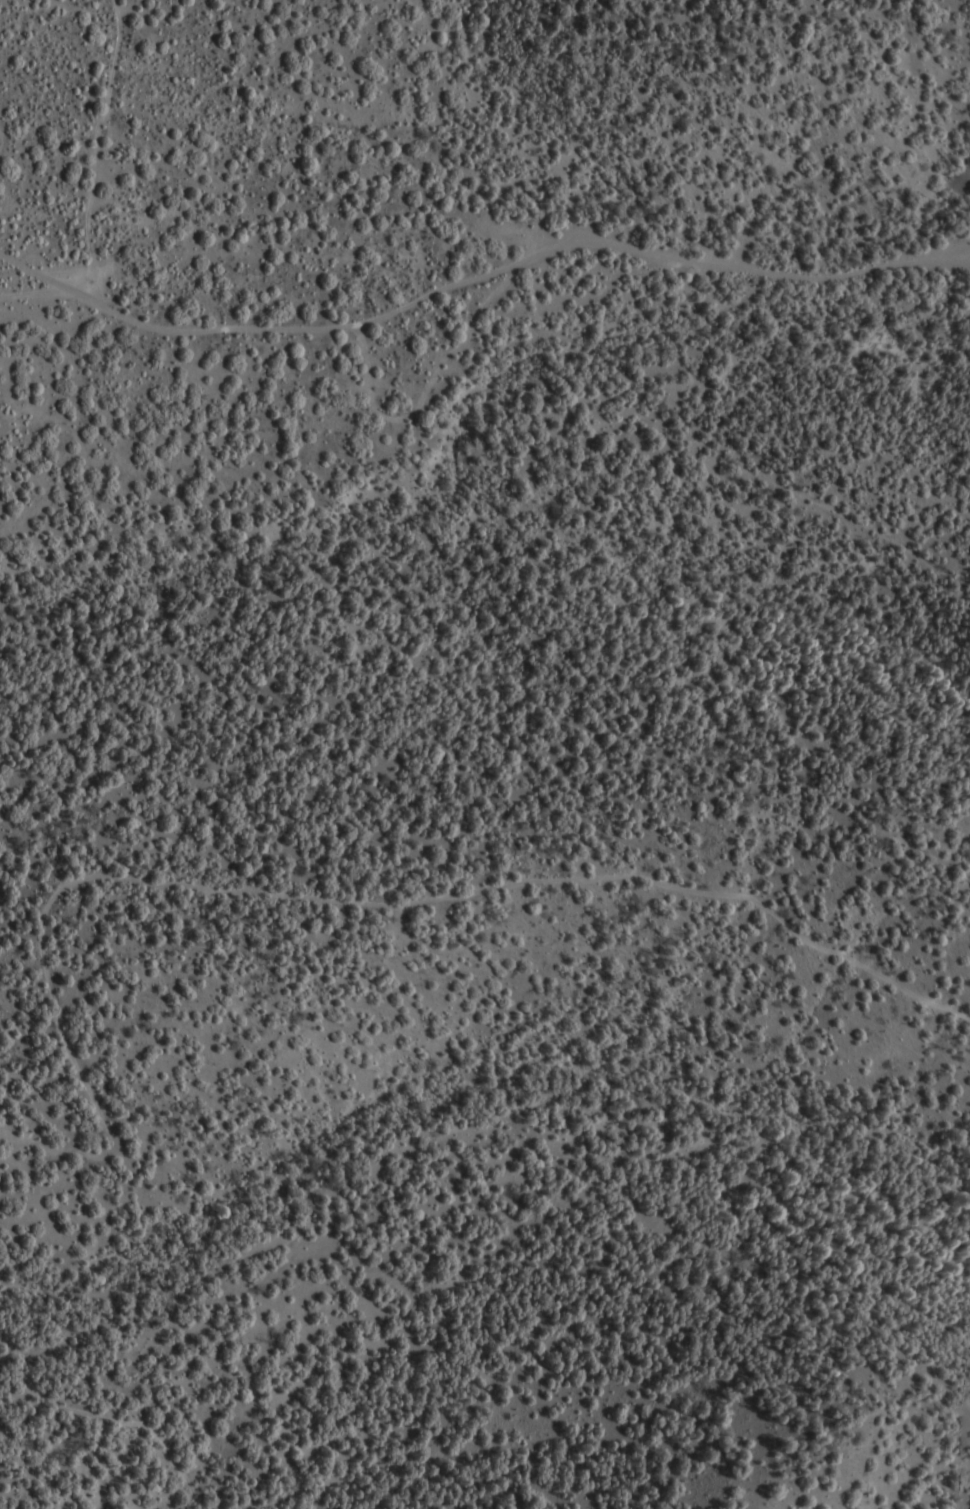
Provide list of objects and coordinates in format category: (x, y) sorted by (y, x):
road: (91, 149)
road: (477, 280)
road: (245, 893)

